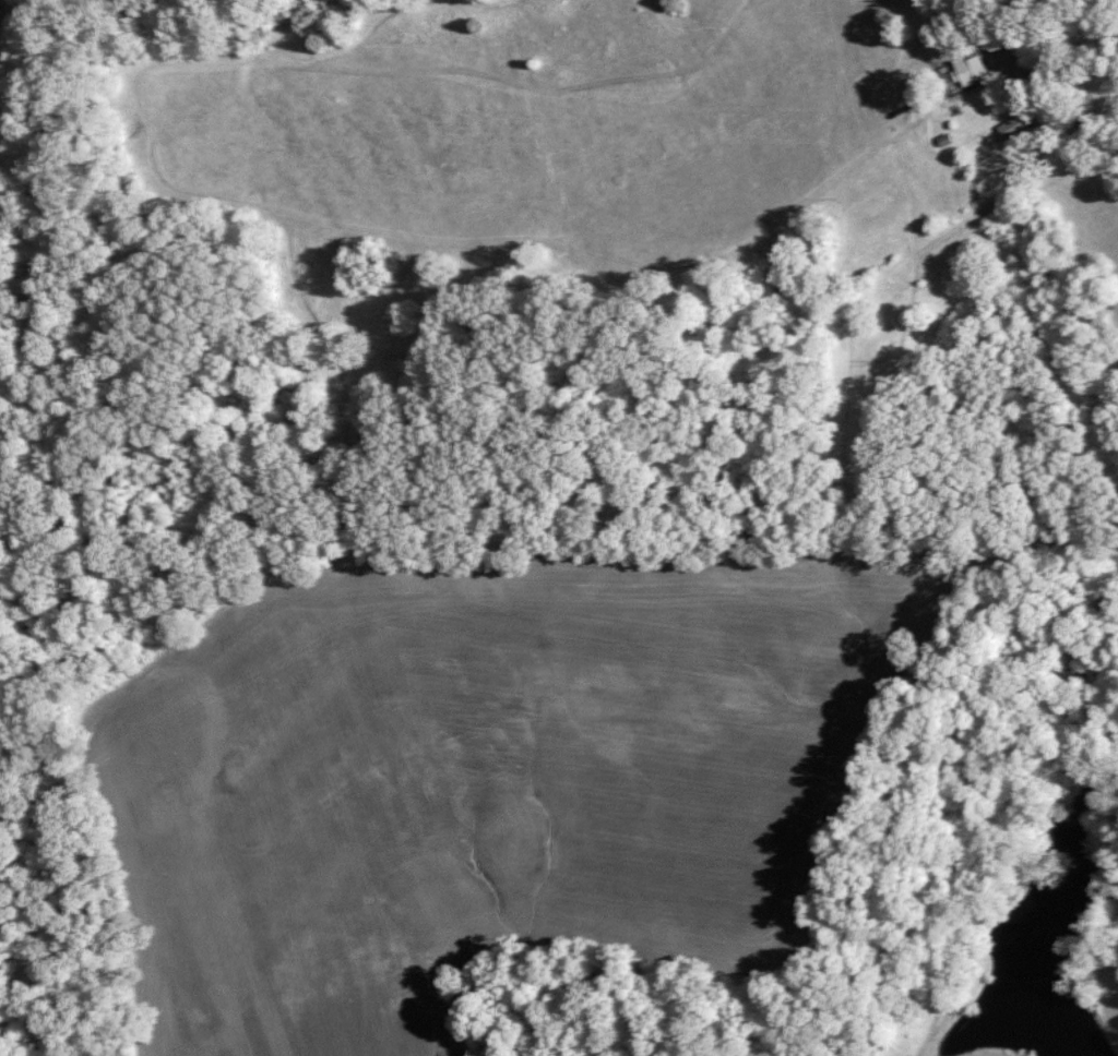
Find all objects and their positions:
building: (965, 65)
road: (1034, 76)
building: (1012, 127)

